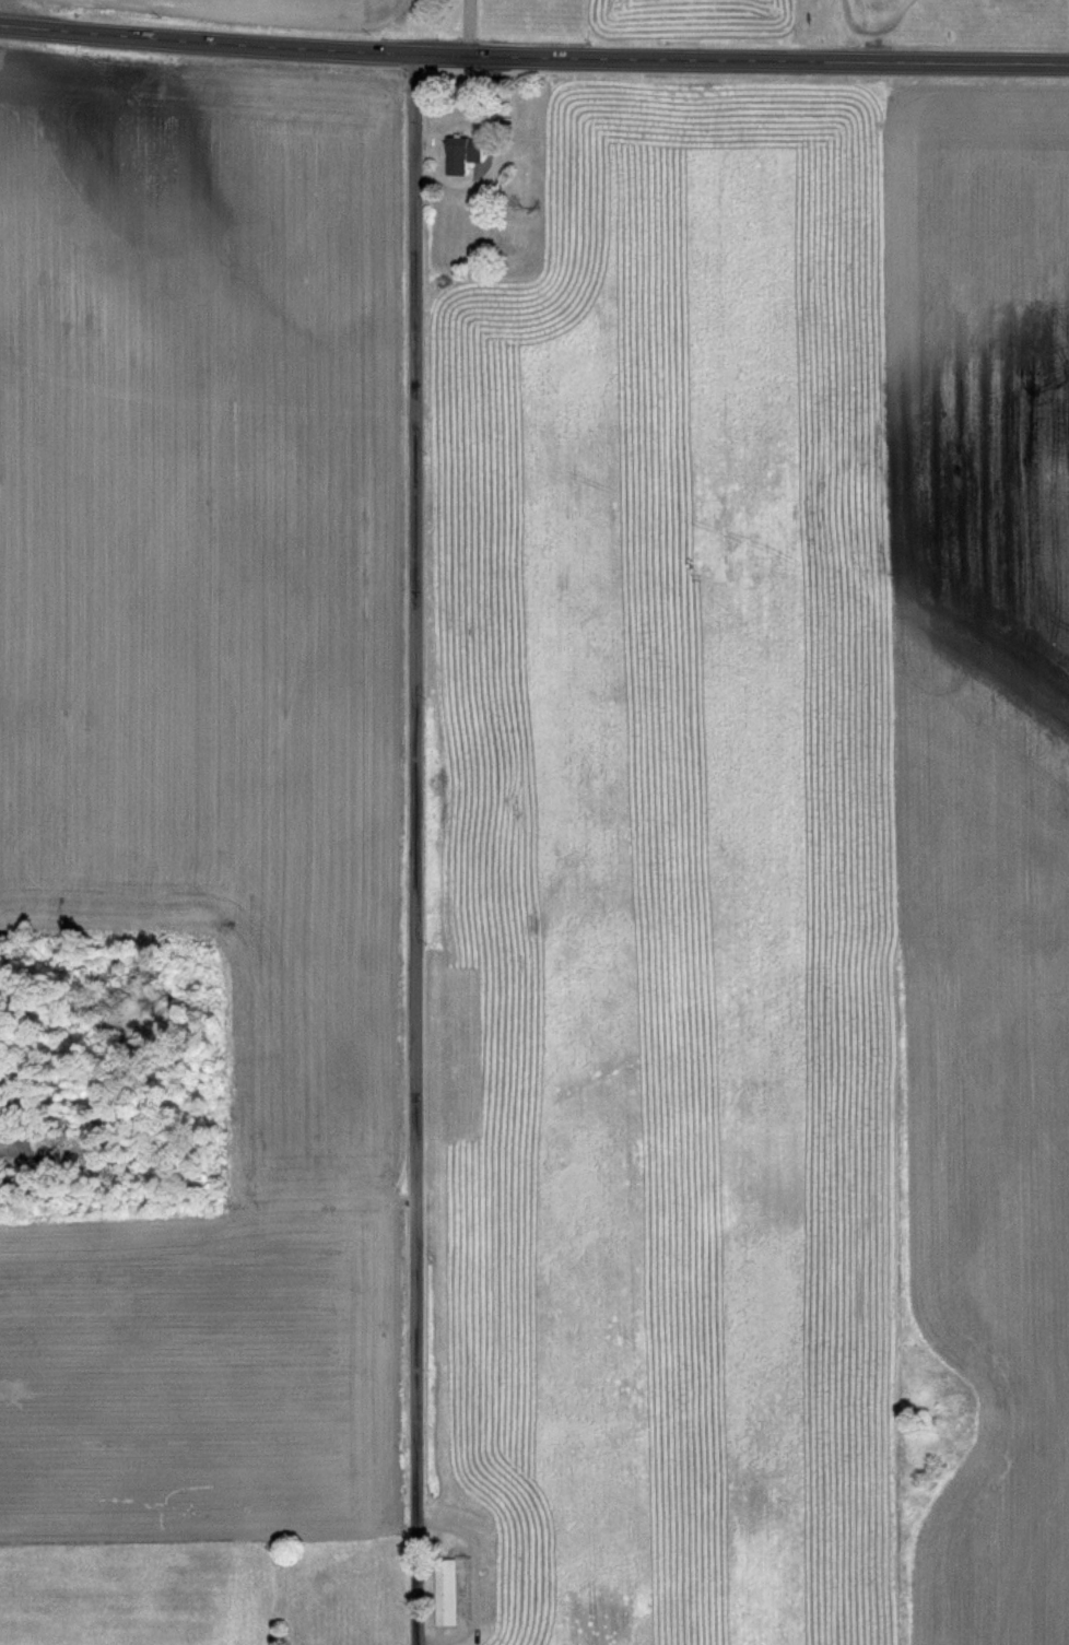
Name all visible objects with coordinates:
road: (461, 28)
road: (533, 57)
road: (480, 152)
building: (459, 154)
road: (408, 850)
building: (444, 1591)

